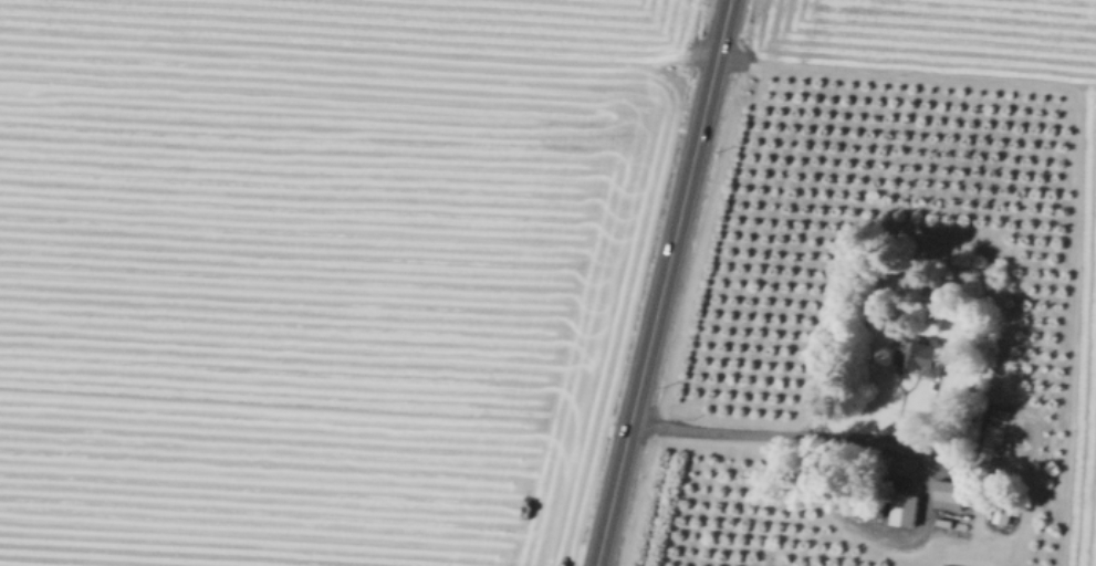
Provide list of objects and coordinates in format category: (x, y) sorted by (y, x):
crop: (398, 25)
road: (665, 282)
crop: (888, 297)
crop: (310, 300)
building: (927, 356)
road: (898, 446)
building: (949, 494)
building: (905, 501)
building: (1002, 512)
building: (989, 515)
silo: (989, 515)
building: (947, 565)

